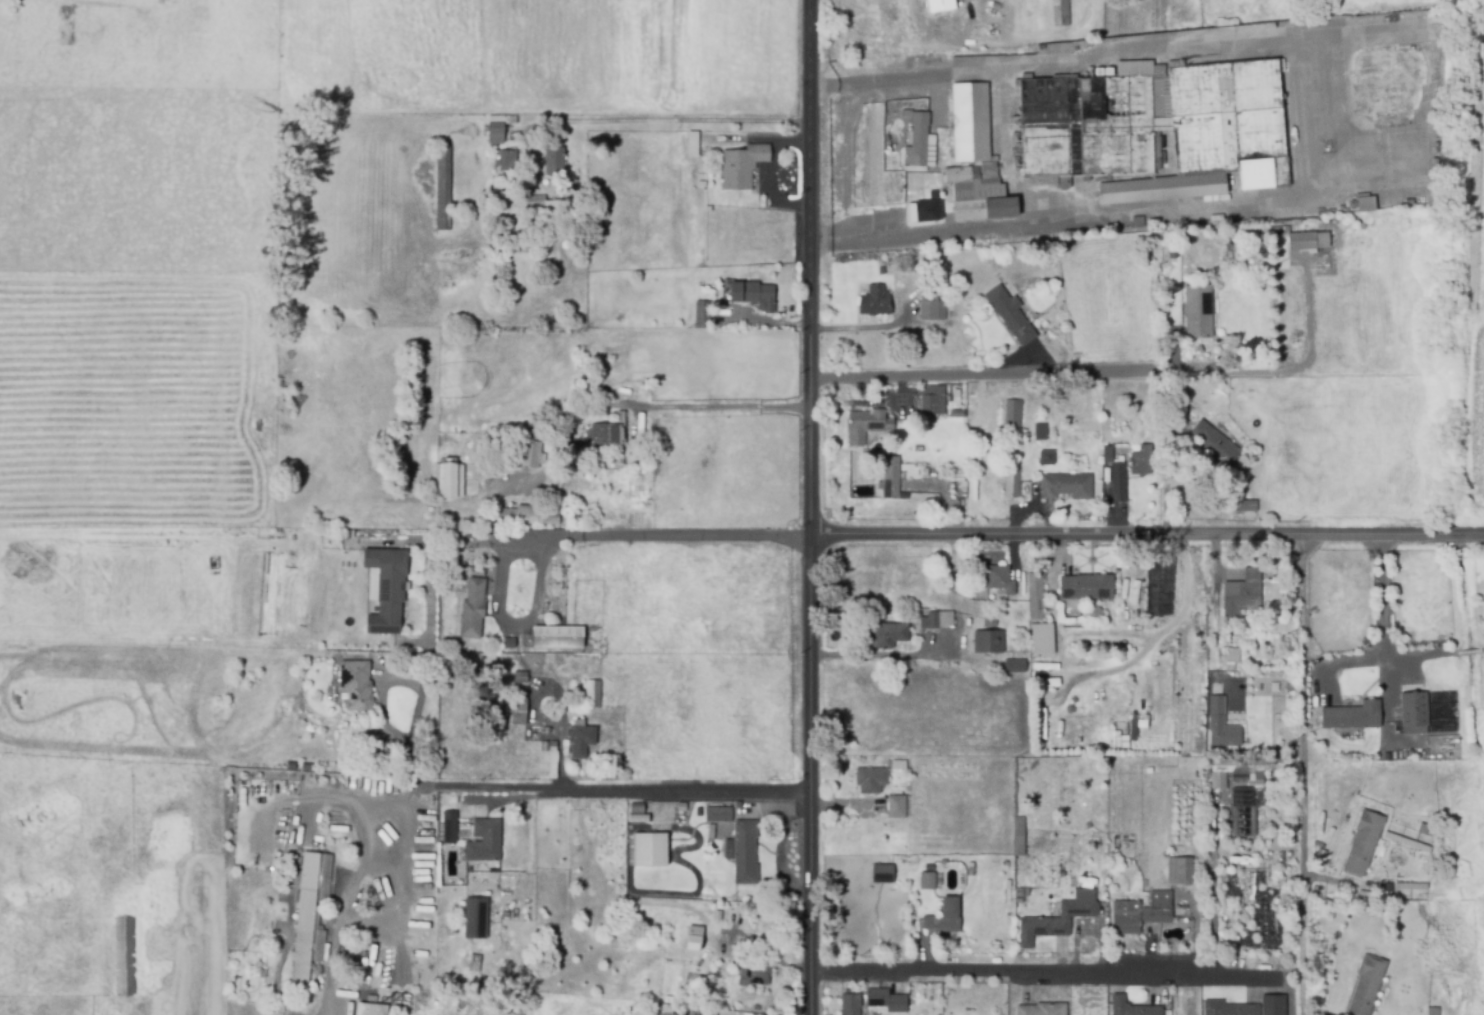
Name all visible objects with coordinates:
building: (939, 5)
building: (1061, 12)
building: (1177, 63)
road: (1304, 119)
road: (655, 121)
building: (498, 128)
building: (1158, 128)
building: (922, 142)
building: (694, 143)
building: (508, 159)
building: (977, 159)
building: (556, 160)
building: (743, 165)
building: (702, 183)
building: (444, 188)
building: (545, 203)
building: (1368, 204)
building: (930, 210)
building: (1138, 221)
building: (1088, 227)
building: (529, 235)
building: (1310, 240)
building: (464, 254)
building: (532, 264)
building: (489, 265)
building: (881, 270)
building: (740, 275)
building: (706, 284)
building: (756, 294)
building: (873, 303)
building: (933, 307)
building: (1199, 311)
building: (703, 314)
building: (1011, 314)
building: (739, 324)
building: (893, 343)
road: (1014, 374)
building: (602, 377)
building: (604, 394)
building: (932, 400)
road: (721, 406)
building: (958, 413)
building: (1014, 413)
building: (868, 425)
building: (1041, 431)
building: (608, 432)
building: (1216, 445)
building: (532, 454)
building: (1108, 454)
building: (1045, 457)
building: (1143, 460)
building: (634, 467)
building: (575, 469)
building: (926, 472)
building: (892, 477)
building: (450, 480)
building: (1012, 482)
building: (1119, 483)
building: (1068, 485)
building: (430, 492)
building: (1241, 506)
road: (809, 507)
building: (529, 515)
building: (473, 518)
road: (1013, 533)
building: (963, 576)
building: (1001, 580)
building: (488, 584)
building: (1088, 587)
building: (388, 589)
building: (1158, 590)
building: (1247, 590)
building: (1037, 596)
road: (1215, 599)
road: (1385, 599)
building: (474, 609)
road: (500, 618)
building: (932, 619)
building: (990, 621)
road: (1164, 631)
building: (889, 634)
building: (559, 637)
building: (990, 642)
building: (510, 643)
building: (1041, 643)
road: (873, 655)
building: (1253, 657)
building: (1234, 659)
building: (410, 663)
building: (1016, 666)
building: (1047, 667)
building: (521, 677)
building: (358, 685)
building: (593, 693)
building: (1218, 706)
building: (1413, 709)
building: (520, 710)
building: (1355, 717)
building: (1223, 735)
building: (581, 738)
building: (376, 740)
building: (545, 746)
building: (553, 746)
road: (408, 749)
building: (1241, 773)
road: (1301, 774)
building: (877, 776)
road: (676, 794)
building: (898, 806)
building: (1245, 810)
building: (637, 811)
building: (697, 811)
building: (720, 814)
building: (451, 827)
building: (712, 828)
building: (1424, 828)
building: (1020, 836)
building: (486, 841)
building: (1365, 842)
building: (1408, 842)
building: (652, 849)
building: (746, 852)
building: (456, 854)
building: (1322, 854)
building: (728, 855)
building: (1180, 871)
building: (882, 876)
building: (928, 880)
building: (1072, 880)
road: (1211, 881)
building: (1411, 886)
road: (350, 889)
building: (1389, 890)
building: (1021, 893)
building: (1181, 912)
building: (311, 913)
building: (1142, 913)
building: (611, 915)
building: (620, 917)
building: (946, 917)
building: (475, 918)
building: (1059, 918)
building: (695, 938)
road: (768, 951)
building: (621, 955)
building: (125, 958)
road: (1046, 970)
building: (718, 972)
building: (756, 975)
building: (1367, 985)
building: (373, 998)
building: (887, 1000)
building: (852, 1004)
building: (1274, 1005)
building: (1133, 1007)
building: (1230, 1008)
building: (372, 1009)
building: (1044, 1009)
building: (1434, 1011)
building: (710, 1012)
building: (698, 1014)

